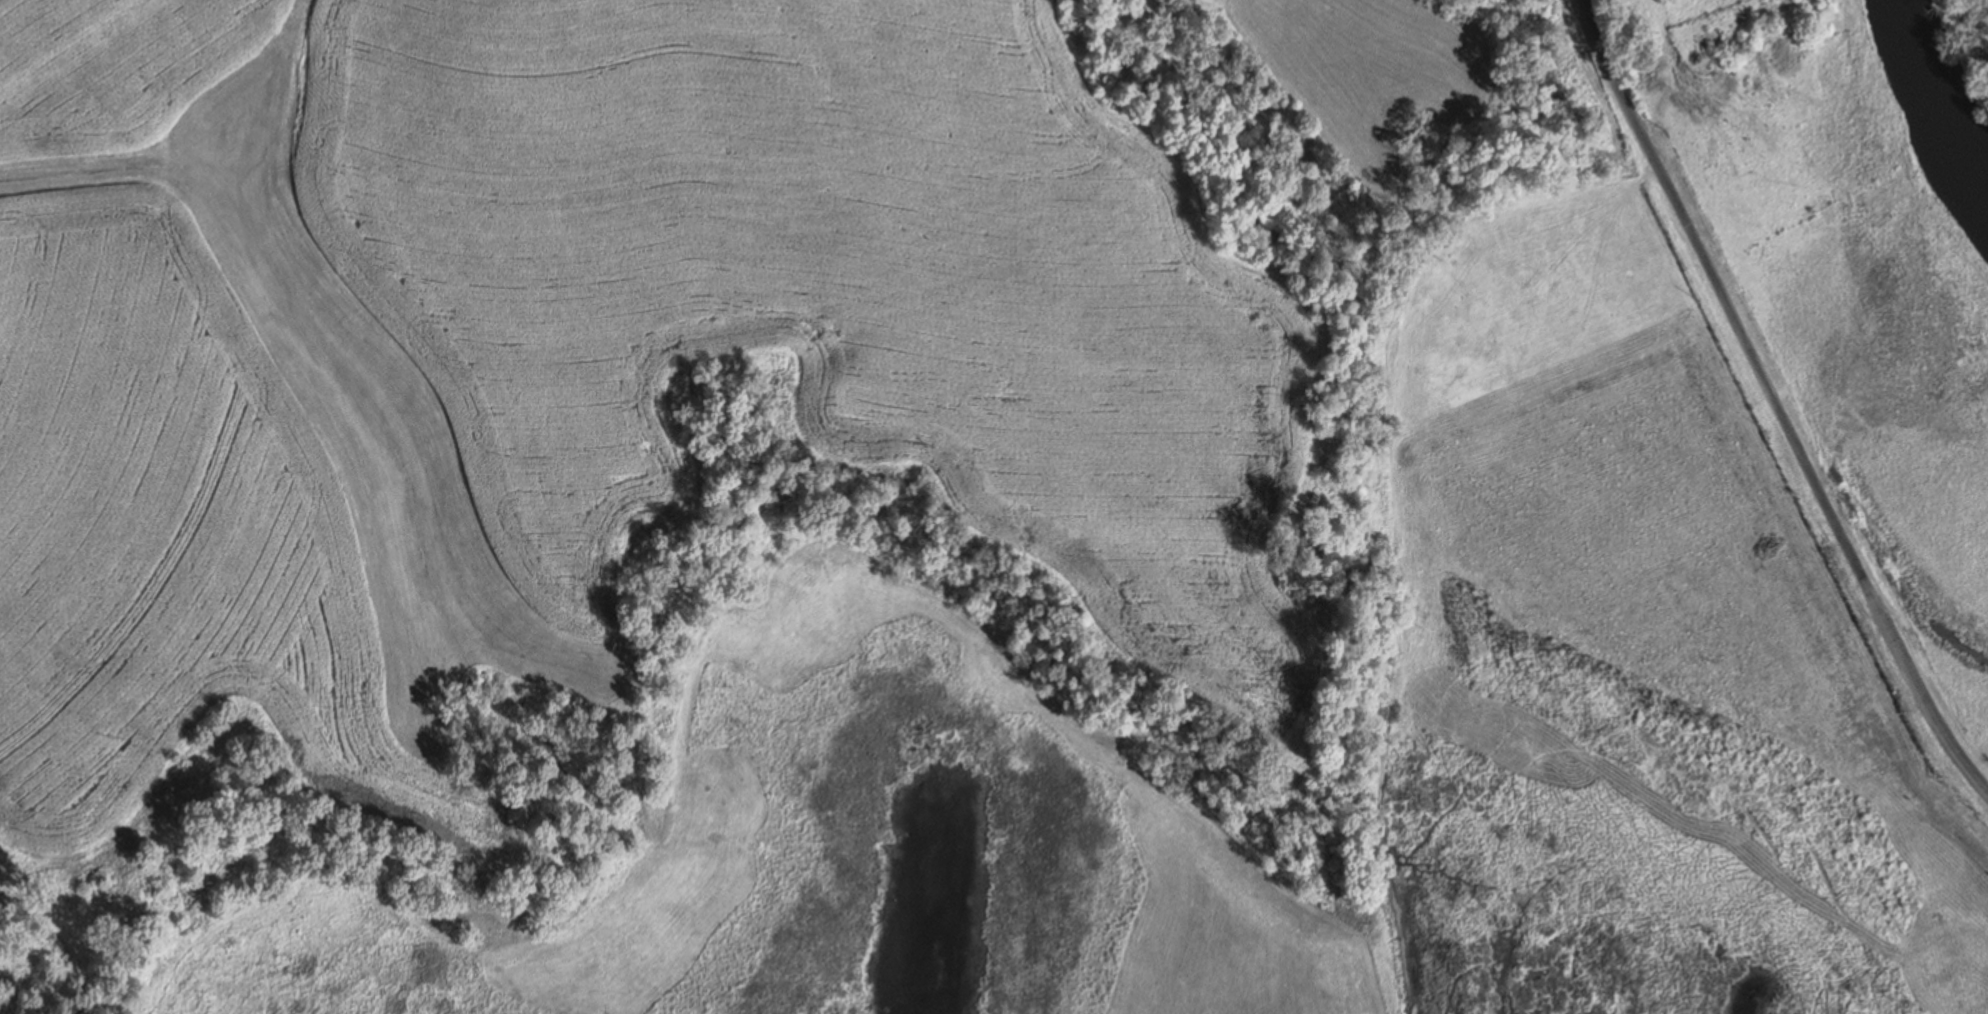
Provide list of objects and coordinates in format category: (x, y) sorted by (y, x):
river: (1937, 90)
road: (1774, 404)

